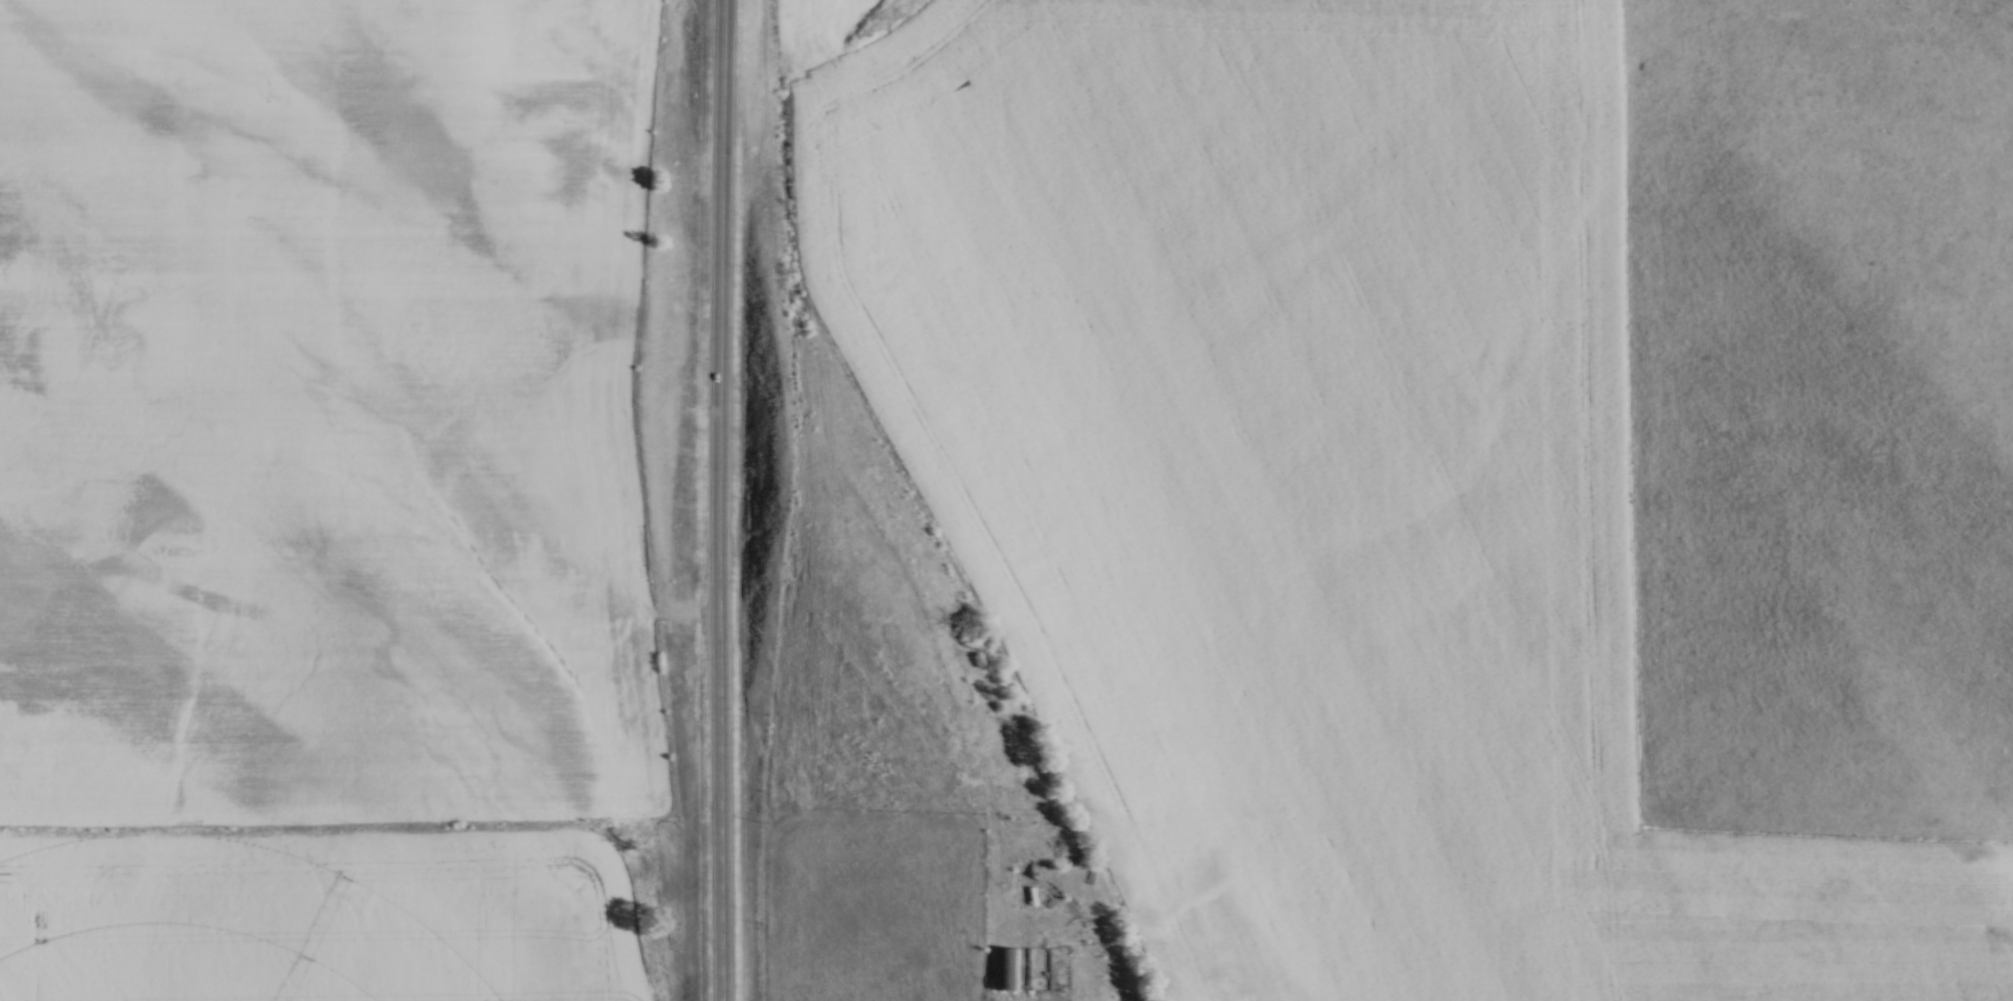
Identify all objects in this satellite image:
road: (719, 500)
building: (1002, 967)
building: (1036, 967)

